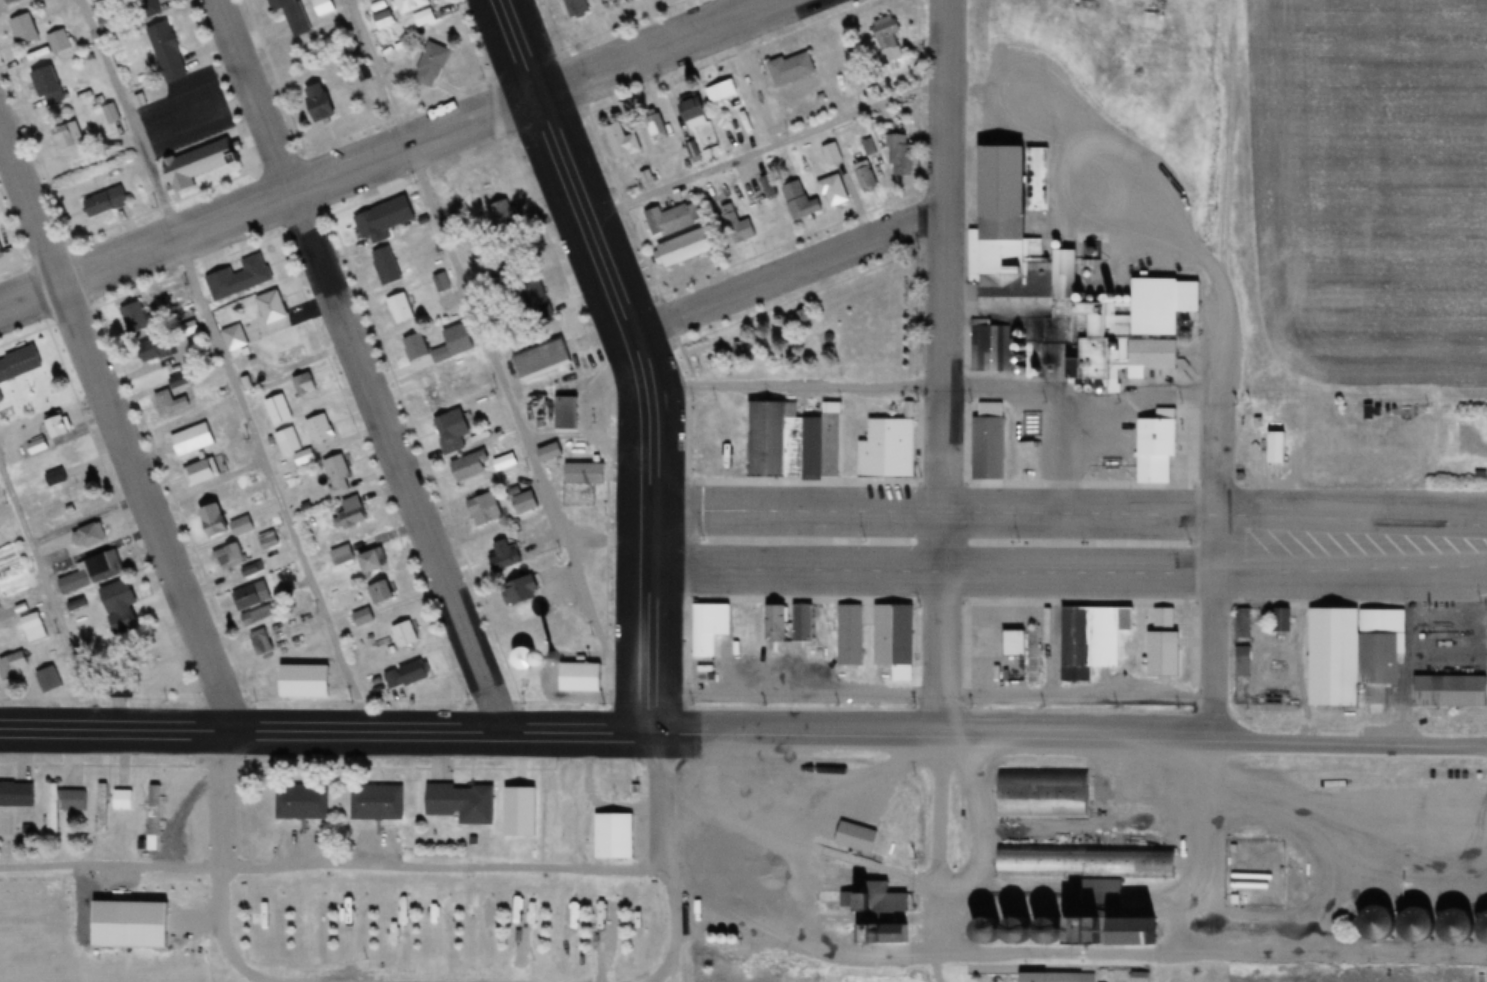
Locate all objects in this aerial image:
building: (10, 1)
building: (610, 1)
building: (410, 5)
building: (148, 6)
building: (322, 6)
building: (576, 8)
building: (287, 10)
building: (24, 29)
building: (886, 38)
building: (57, 42)
building: (168, 52)
building: (315, 54)
building: (430, 65)
building: (791, 69)
building: (47, 86)
building: (721, 91)
building: (323, 102)
building: (694, 112)
building: (659, 130)
building: (67, 136)
building: (622, 141)
road: (766, 146)
building: (832, 154)
building: (902, 156)
road: (410, 160)
building: (197, 164)
building: (996, 172)
building: (866, 175)
building: (766, 187)
building: (835, 191)
building: (104, 201)
building: (801, 201)
building: (499, 215)
building: (676, 218)
building: (372, 225)
building: (738, 225)
road: (440, 240)
building: (688, 247)
building: (385, 265)
road: (788, 271)
building: (251, 274)
building: (501, 276)
building: (439, 282)
building: (535, 302)
building: (400, 308)
building: (134, 318)
building: (259, 321)
building: (286, 345)
building: (424, 349)
road: (638, 356)
building: (544, 357)
building: (19, 364)
road: (225, 367)
road: (353, 367)
building: (1076, 368)
building: (37, 383)
building: (304, 384)
building: (430, 392)
building: (171, 396)
building: (278, 409)
building: (569, 413)
building: (58, 427)
building: (320, 429)
building: (452, 431)
building: (763, 433)
building: (192, 439)
building: (507, 442)
building: (36, 445)
building: (292, 446)
building: (1278, 447)
building: (551, 453)
building: (877, 462)
building: (62, 464)
building: (472, 467)
building: (202, 472)
building: (338, 474)
building: (584, 474)
road: (941, 476)
road: (144, 477)
building: (69, 492)
building: (526, 503)
building: (487, 509)
road: (1056, 510)
building: (350, 512)
building: (224, 523)
road: (1472, 532)
building: (89, 535)
building: (267, 540)
road: (1216, 553)
road: (1474, 553)
building: (342, 555)
building: (506, 555)
building: (228, 557)
building: (372, 561)
building: (103, 567)
building: (250, 570)
road: (1057, 570)
building: (74, 582)
building: (525, 591)
building: (381, 593)
building: (251, 597)
road: (52, 601)
building: (0, 607)
building: (121, 608)
building: (260, 615)
building: (362, 617)
building: (775, 624)
building: (804, 624)
building: (1244, 624)
building: (34, 626)
building: (710, 628)
building: (406, 634)
building: (850, 635)
building: (893, 635)
building: (1091, 640)
building: (261, 643)
building: (1167, 646)
building: (1025, 650)
building: (1356, 656)
building: (1244, 662)
building: (13, 665)
building: (407, 675)
building: (282, 677)
building: (48, 680)
building: (1452, 691)
road: (325, 735)
road: (1069, 739)
building: (1041, 791)
building: (16, 794)
building: (121, 799)
building: (460, 800)
building: (302, 801)
building: (377, 802)
building: (61, 804)
building: (101, 807)
building: (151, 817)
building: (552, 819)
building: (905, 828)
building: (618, 837)
road: (669, 858)
building: (1083, 858)
building: (1301, 874)
building: (1251, 880)
building: (885, 900)
building: (134, 919)
road: (229, 920)
building: (607, 925)
building: (1413, 925)
building: (522, 926)
building: (1067, 977)

